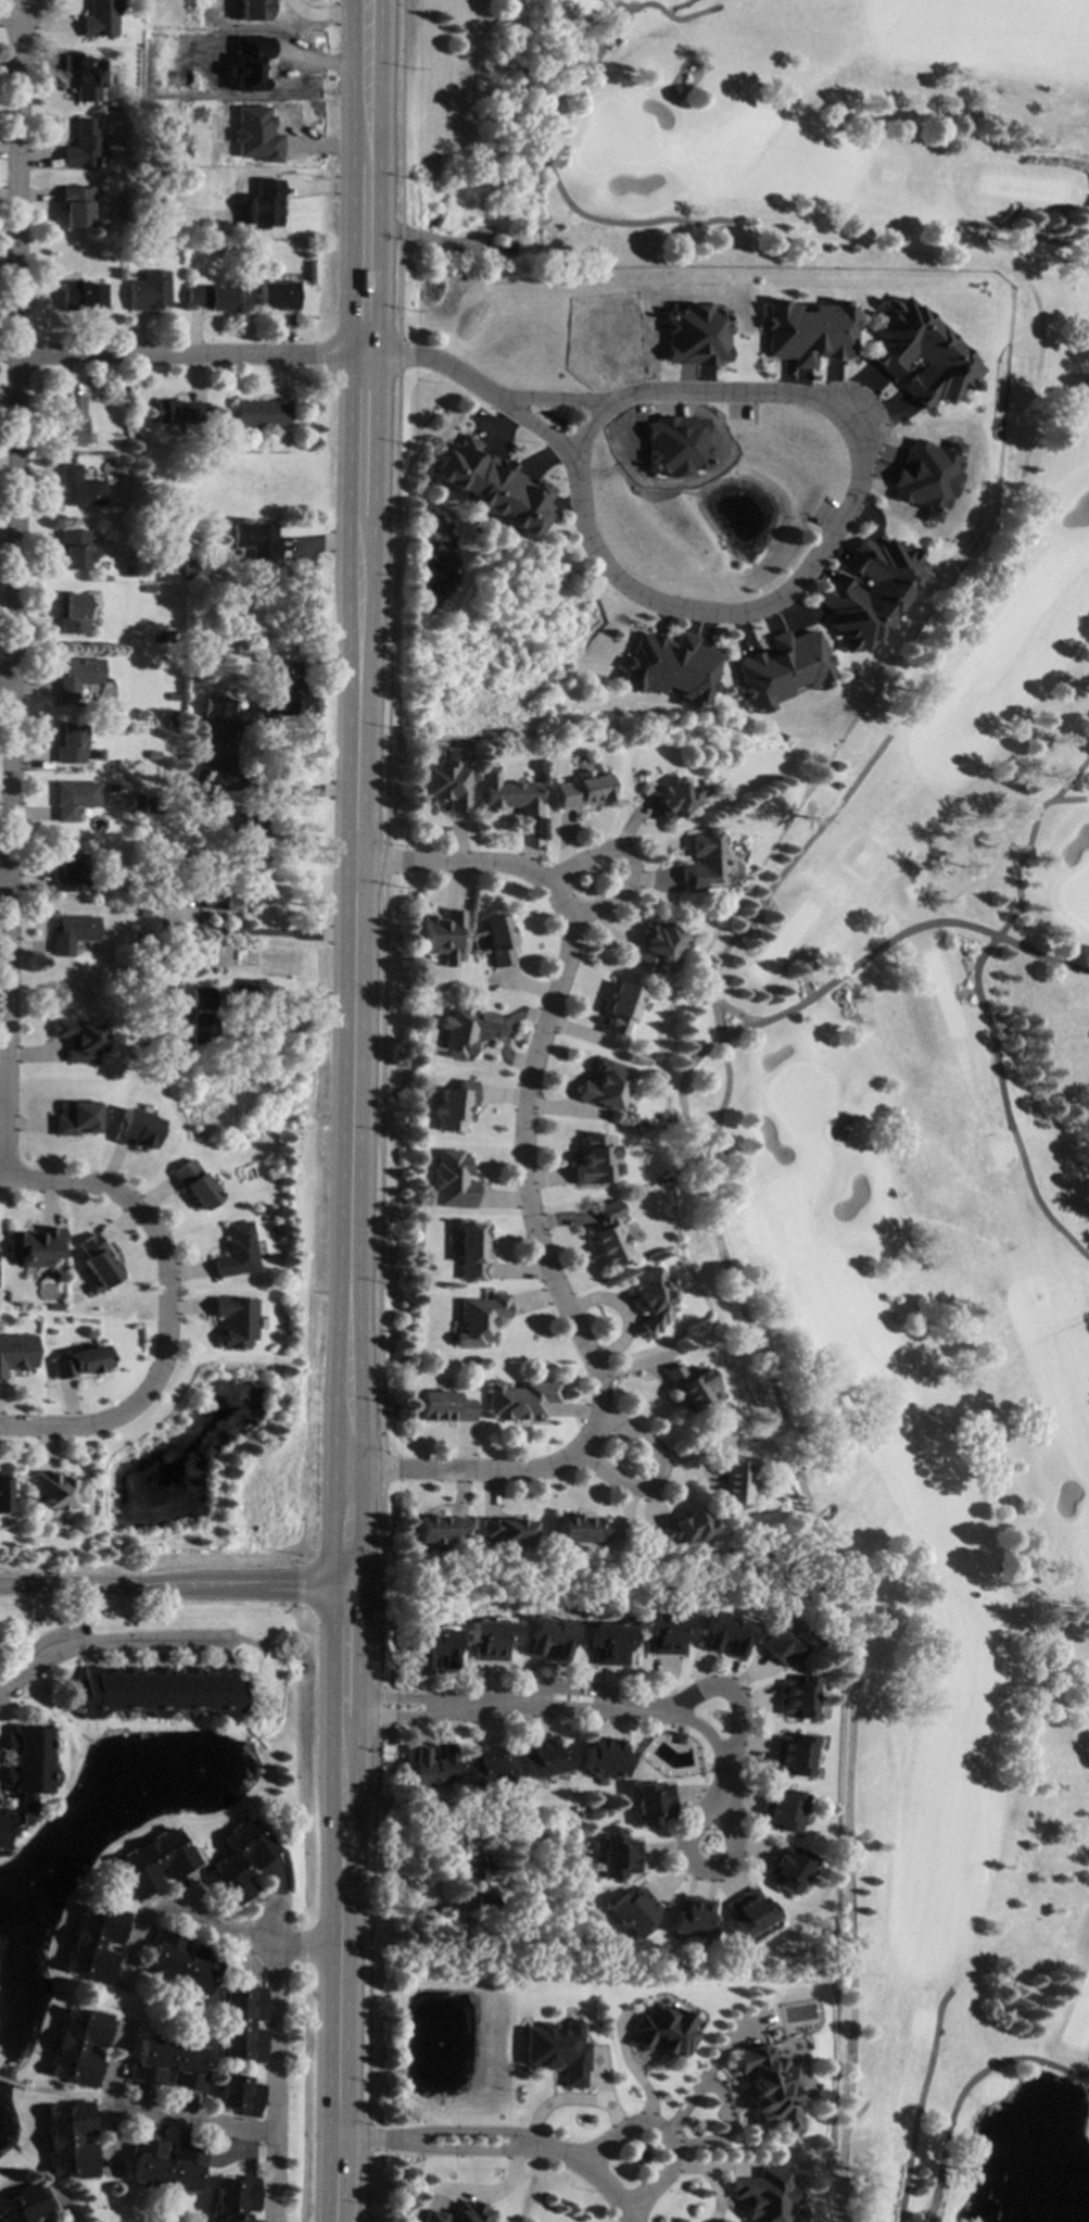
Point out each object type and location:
building: (254, 10)
building: (100, 18)
building: (249, 62)
building: (85, 76)
building: (179, 112)
road: (549, 133)
building: (255, 135)
building: (83, 146)
building: (165, 200)
building: (76, 205)
building: (263, 205)
road: (1025, 234)
building: (504, 246)
building: (216, 251)
building: (308, 252)
building: (148, 292)
building: (277, 296)
building: (79, 297)
building: (211, 298)
building: (808, 332)
building: (694, 336)
road: (194, 354)
building: (920, 354)
road: (441, 361)
road: (554, 400)
building: (180, 412)
building: (261, 413)
building: (69, 423)
road: (536, 428)
road: (582, 428)
building: (673, 447)
building: (924, 476)
building: (490, 484)
building: (78, 488)
road: (828, 538)
building: (256, 541)
building: (74, 550)
building: (188, 567)
building: (125, 570)
building: (147, 589)
building: (868, 591)
road: (13, 592)
building: (71, 614)
building: (669, 666)
building: (781, 668)
building: (76, 676)
road: (5, 686)
building: (281, 695)
building: (172, 698)
building: (219, 708)
building: (173, 725)
building: (258, 731)
building: (68, 743)
building: (213, 771)
building: (446, 783)
building: (111, 788)
building: (582, 789)
road: (283, 791)
building: (508, 793)
building: (670, 798)
building: (74, 799)
road: (1062, 800)
building: (136, 804)
building: (153, 805)
building: (249, 831)
building: (702, 862)
road: (628, 864)
building: (67, 874)
road: (4, 884)
building: (169, 897)
building: (216, 900)
building: (142, 913)
building: (72, 933)
road: (269, 936)
building: (442, 936)
building: (497, 940)
building: (657, 944)
road: (978, 1000)
road: (296, 1004)
park: (886, 1007)
building: (619, 1009)
building: (202, 1019)
road: (755, 1020)
building: (463, 1030)
building: (78, 1040)
road: (682, 1082)
building: (605, 1083)
building: (454, 1105)
road: (354, 1110)
building: (74, 1119)
building: (134, 1129)
building: (594, 1159)
building: (454, 1180)
building: (194, 1185)
road: (522, 1195)
building: (257, 1210)
building: (609, 1239)
building: (36, 1245)
building: (471, 1252)
building: (236, 1253)
building: (98, 1261)
building: (651, 1301)
road: (164, 1307)
building: (479, 1318)
building: (235, 1322)
building: (16, 1354)
building: (81, 1361)
building: (689, 1386)
building: (519, 1399)
building: (444, 1406)
building: (733, 1478)
road: (655, 1480)
building: (56, 1489)
building: (4, 1494)
building: (683, 1527)
building: (438, 1528)
building: (506, 1529)
building: (578, 1529)
road: (172, 1587)
road: (844, 1595)
building: (724, 1632)
building: (663, 1633)
building: (547, 1636)
road: (103, 1640)
building: (489, 1641)
building: (781, 1641)
building: (607, 1644)
building: (433, 1647)
building: (156, 1692)
road: (722, 1697)
building: (796, 1697)
road: (584, 1702)
building: (793, 1754)
building: (542, 1757)
building: (604, 1757)
building: (431, 1765)
building: (487, 1768)
building: (25, 1774)
building: (651, 1803)
building: (783, 1809)
building: (619, 1857)
building: (240, 1862)
building: (153, 1863)
building: (788, 1868)
building: (478, 1884)
road: (403, 1907)
building: (633, 1910)
building: (750, 1912)
building: (694, 1917)
road: (204, 1923)
building: (528, 1924)
building: (92, 1944)
building: (181, 1962)
building: (241, 2025)
building: (664, 2030)
building: (77, 2046)
building: (559, 2050)
building: (167, 2064)
road: (276, 2064)
road: (11, 2084)
building: (770, 2087)
road: (963, 2089)
road: (63, 2093)
building: (238, 2095)
road: (104, 2098)
road: (920, 2104)
road: (856, 2117)
road: (189, 2119)
road: (670, 2134)
building: (69, 2141)
road: (502, 2145)
building: (165, 2165)
road: (720, 2180)
building: (765, 2195)
building: (43, 2196)
building: (235, 2198)
road: (61, 2204)
building: (21, 2205)
building: (460, 2213)
building: (49, 2221)

